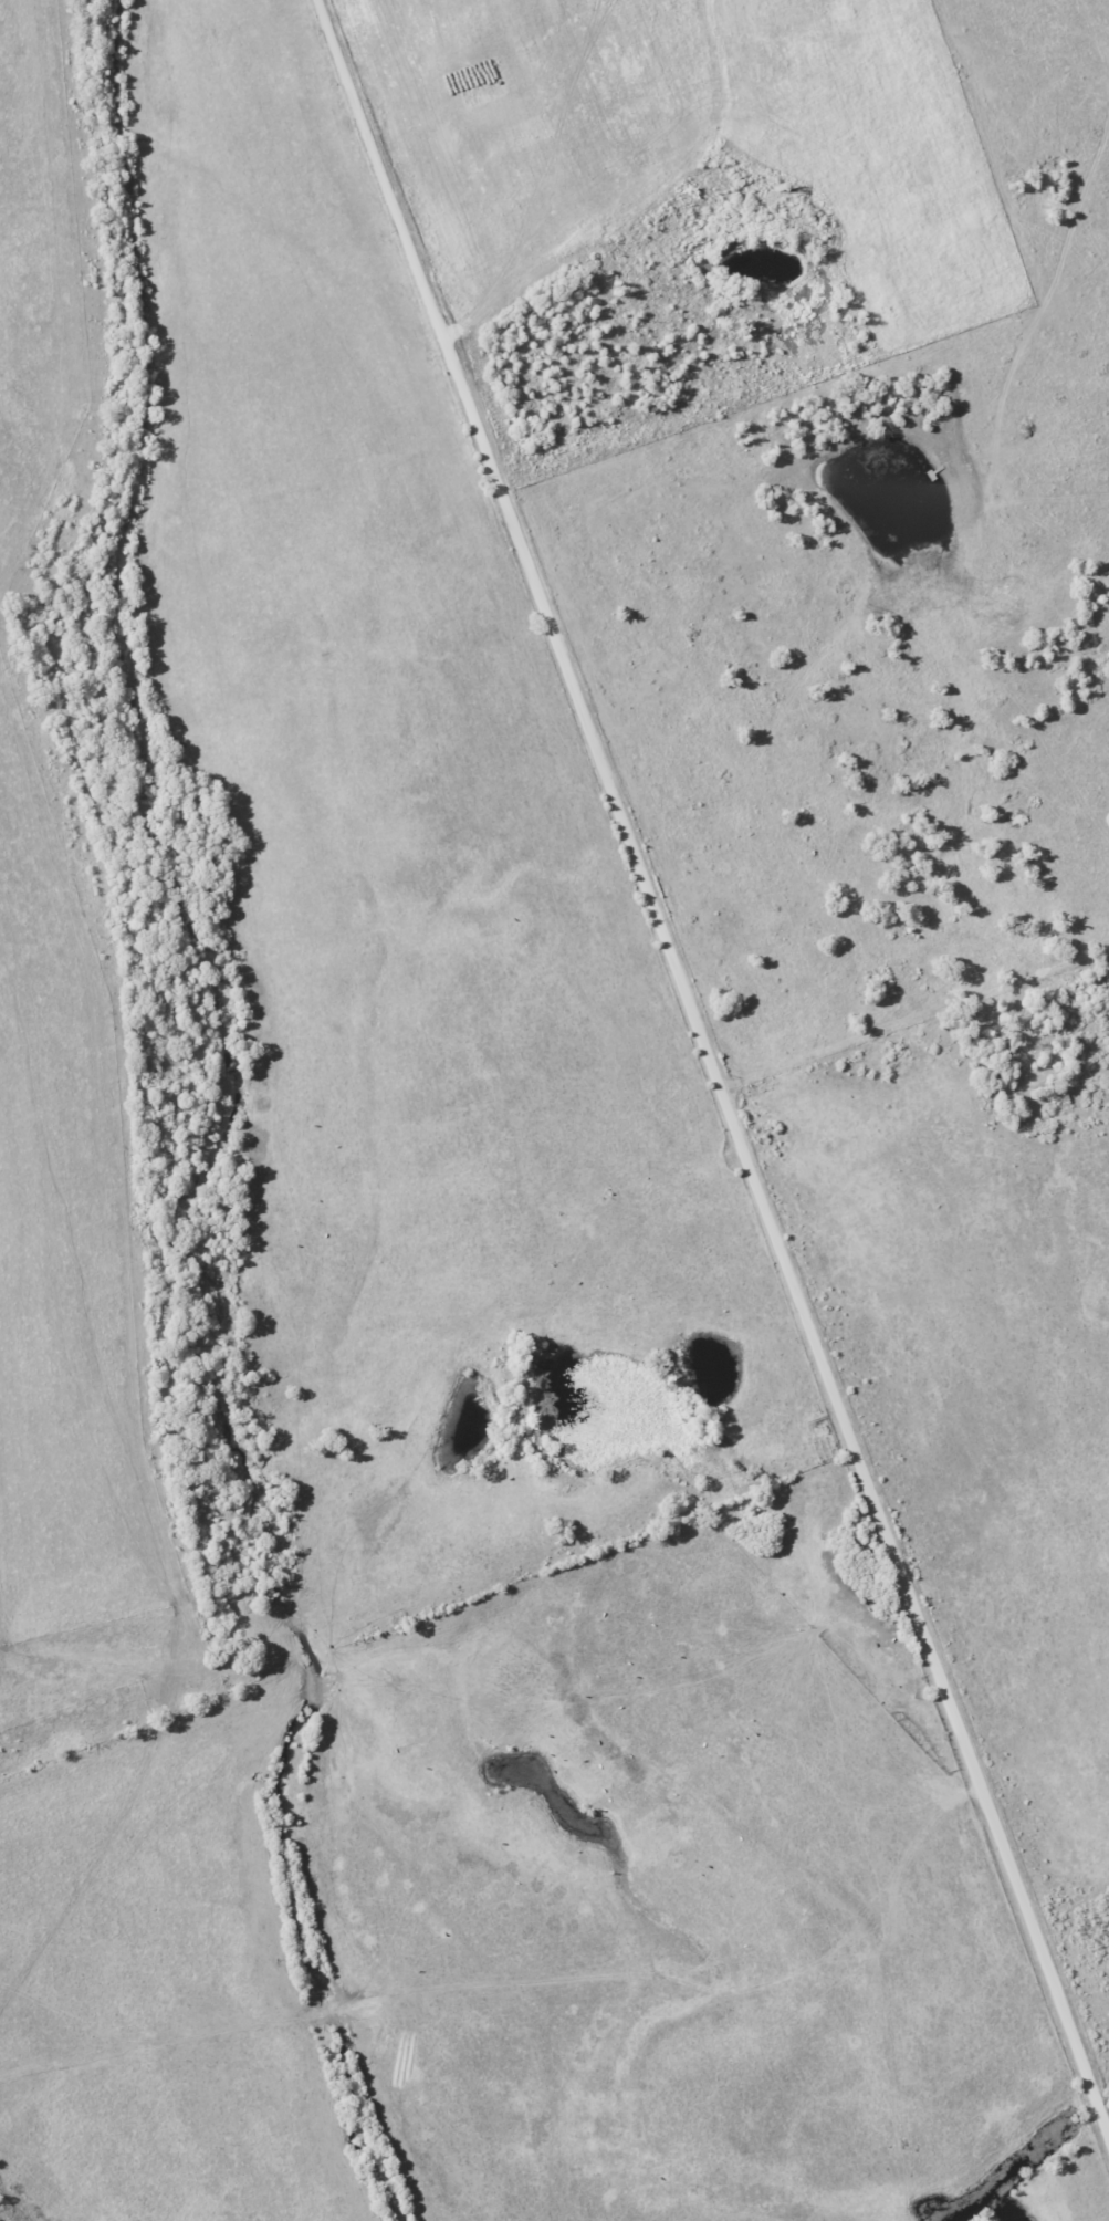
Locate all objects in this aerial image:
road: (721, 1071)

